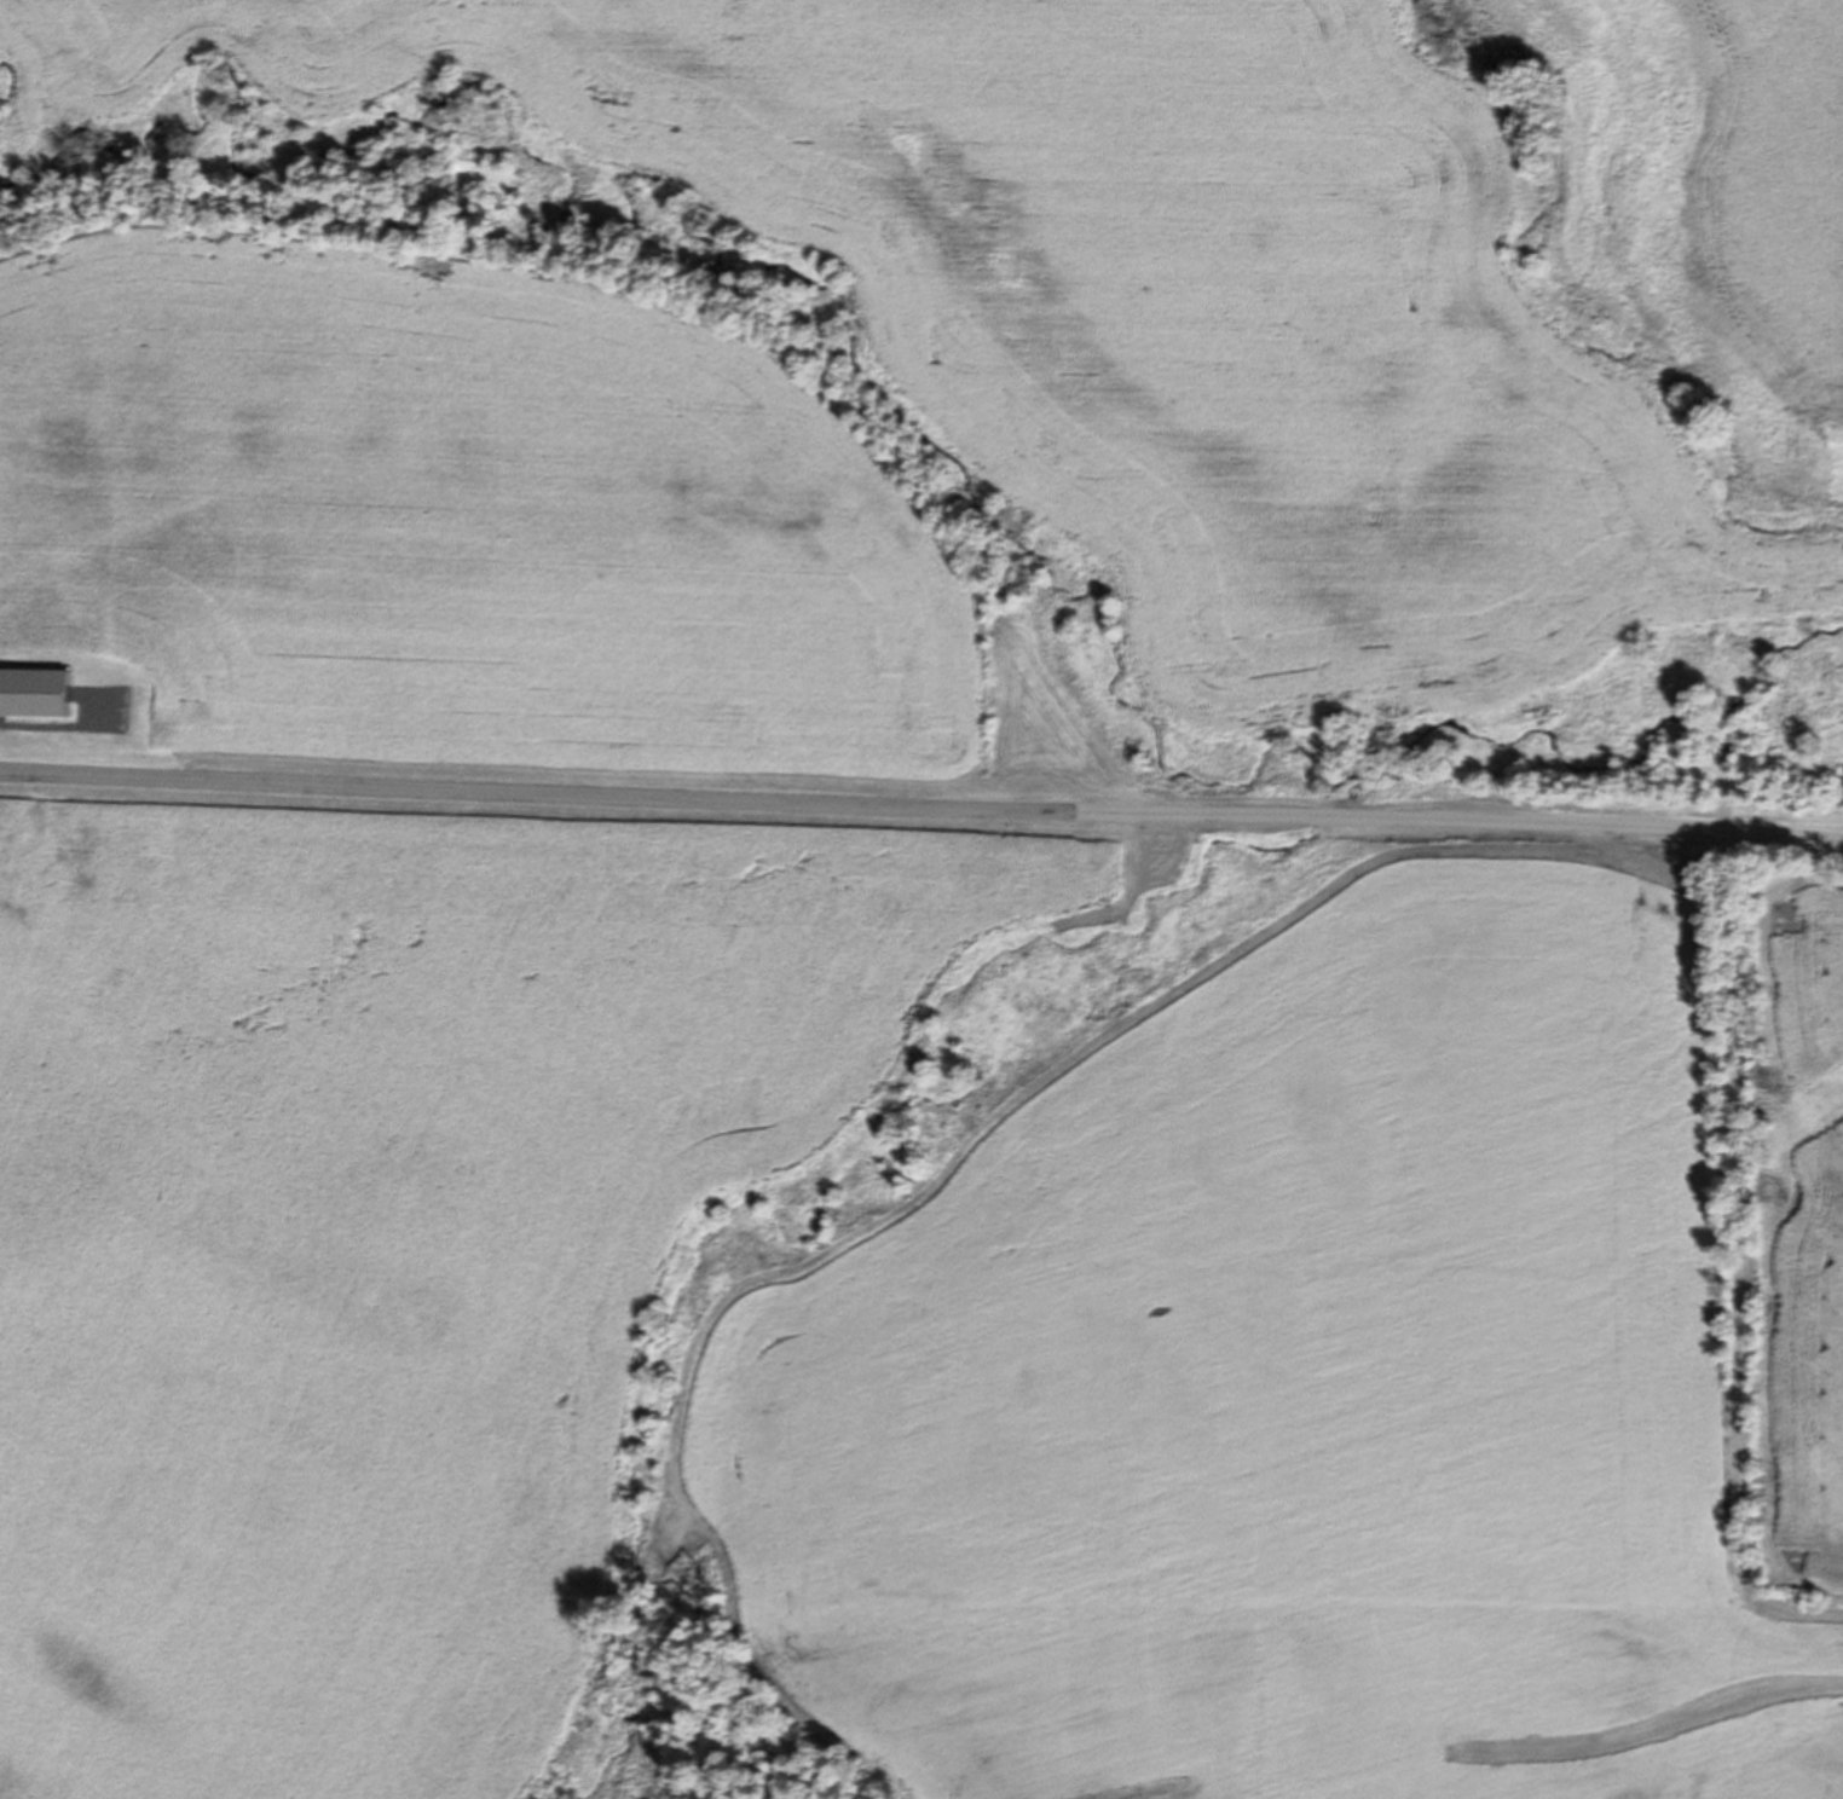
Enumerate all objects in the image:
building: (44, 690)
road: (921, 810)
road: (1755, 1254)

